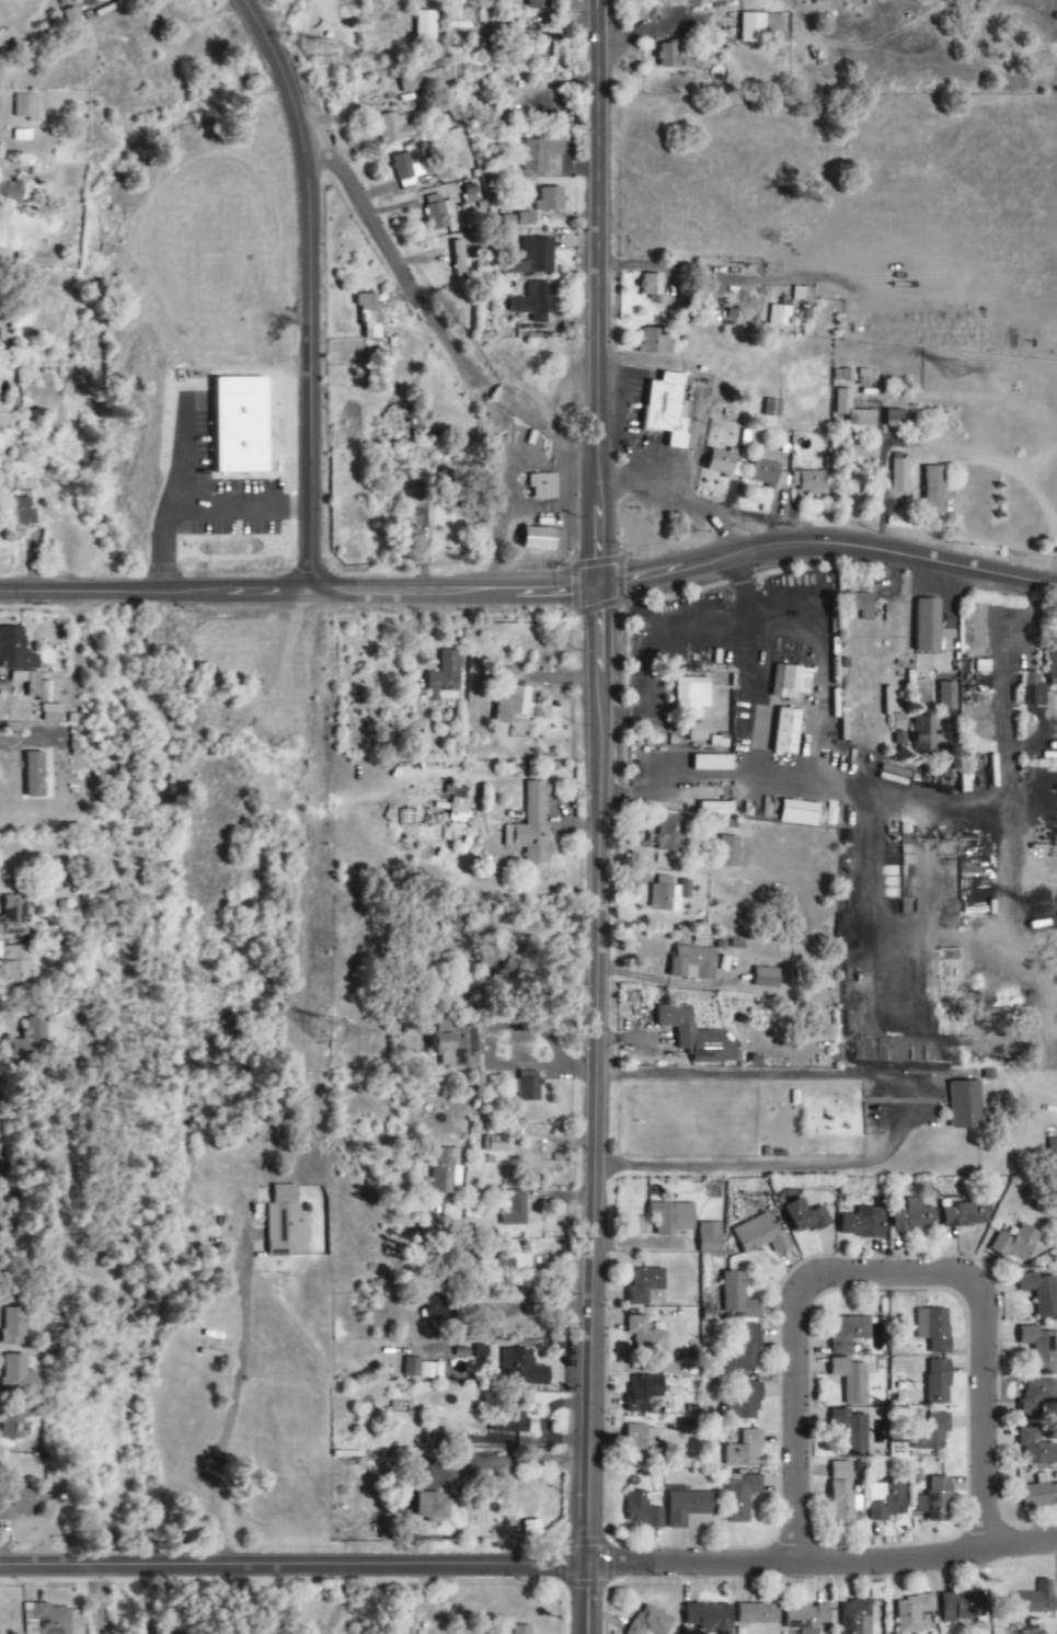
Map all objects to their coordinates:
building: (538, 4)
building: (426, 26)
building: (752, 30)
power tower: (321, 54)
building: (679, 59)
building: (424, 80)
building: (26, 106)
building: (394, 127)
building: (541, 151)
building: (406, 170)
building: (11, 191)
building: (550, 199)
building: (438, 212)
building: (536, 256)
building: (458, 259)
road: (395, 262)
building: (652, 284)
road: (309, 288)
building: (802, 294)
building: (536, 301)
building: (370, 315)
building: (780, 316)
building: (657, 341)
power tower: (964, 372)
building: (866, 378)
building: (842, 400)
building: (773, 408)
building: (668, 409)
building: (35, 414)
building: (895, 418)
building: (3, 423)
building: (723, 464)
building: (763, 473)
building: (900, 476)
building: (448, 478)
building: (811, 481)
building: (543, 485)
building: (934, 490)
building: (540, 539)
road: (826, 544)
road: (298, 591)
building: (860, 604)
building: (929, 626)
building: (15, 650)
building: (444, 678)
building: (791, 682)
building: (34, 685)
building: (1033, 690)
building: (698, 693)
building: (947, 697)
building: (512, 699)
building: (51, 713)
building: (788, 731)
building: (698, 732)
building: (915, 734)
building: (712, 763)
building: (35, 774)
building: (458, 804)
building: (715, 809)
building: (800, 813)
road: (596, 816)
building: (532, 826)
building: (673, 834)
building: (728, 852)
building: (668, 894)
power tower: (1046, 907)
building: (16, 916)
building: (691, 962)
building: (18, 965)
power tower: (325, 1032)
building: (35, 1036)
building: (696, 1037)
building: (460, 1047)
building: (965, 1105)
road: (893, 1121)
building: (496, 1144)
building: (1053, 1147)
building: (445, 1170)
building: (514, 1210)
building: (966, 1215)
building: (807, 1216)
building: (673, 1218)
building: (915, 1218)
building: (285, 1223)
building: (864, 1224)
building: (760, 1236)
building: (710, 1237)
building: (1018, 1244)
building: (513, 1261)
road: (884, 1273)
road: (498, 1275)
building: (645, 1286)
building: (1042, 1293)
building: (738, 1296)
building: (436, 1309)
building: (13, 1327)
building: (934, 1329)
building: (849, 1334)
building: (646, 1336)
building: (1037, 1348)
building: (744, 1350)
building: (418, 1369)
building: (524, 1369)
building: (16, 1374)
building: (852, 1380)
building: (939, 1382)
building: (644, 1393)
building: (1039, 1401)
building: (743, 1402)
building: (1015, 1406)
building: (397, 1417)
building: (513, 1421)
road: (227, 1425)
building: (851, 1432)
building: (933, 1433)
building: (643, 1442)
building: (1037, 1448)
building: (744, 1450)
building: (1041, 1493)
building: (843, 1495)
building: (740, 1497)
building: (887, 1501)
building: (938, 1501)
building: (22, 1502)
building: (687, 1506)
building: (435, 1508)
building: (643, 1511)
building: (390, 1530)
road: (529, 1564)
road: (111, 1600)
building: (1035, 1600)
building: (962, 1607)
building: (759, 1614)
building: (911, 1614)
building: (709, 1618)
building: (855, 1618)
building: (50, 1619)
building: (806, 1619)
building: (652, 1622)
building: (522, 1630)

